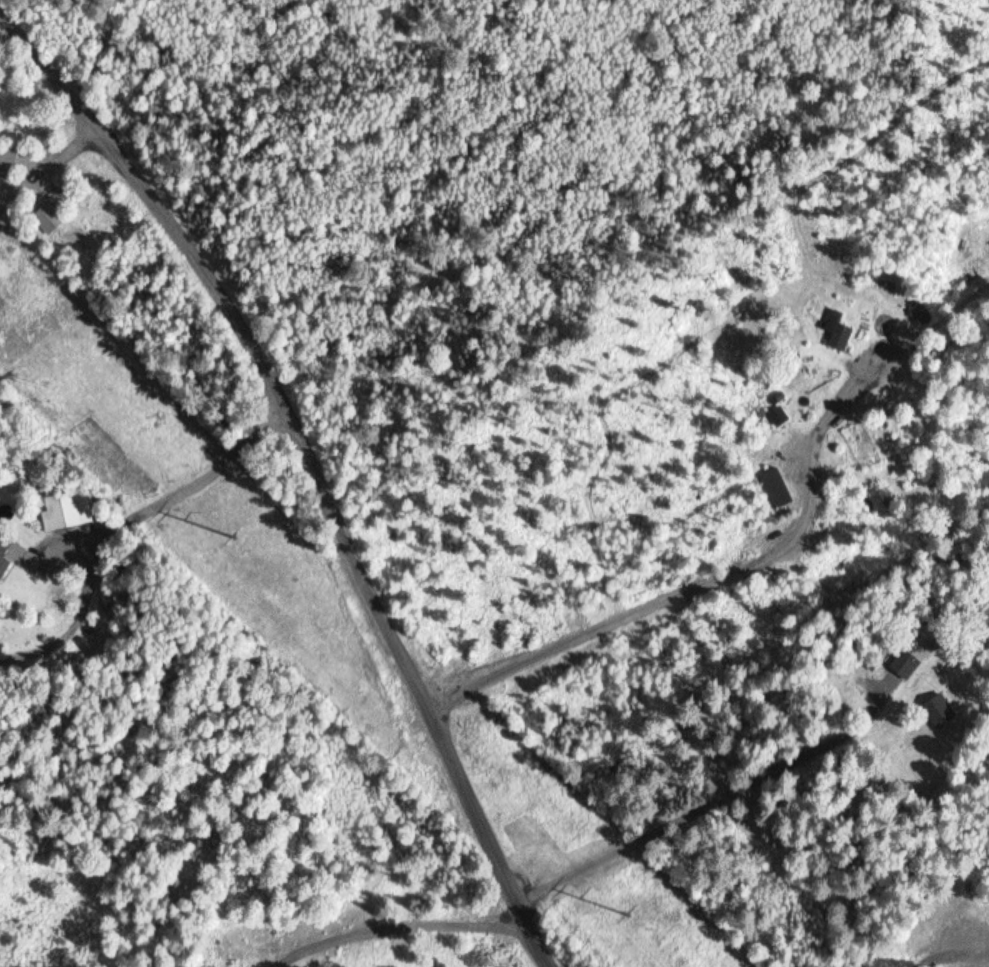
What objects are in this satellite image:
building: (8, 158)
building: (920, 314)
building: (835, 329)
road: (309, 467)
building: (66, 510)
power tower: (238, 536)
building: (4, 547)
road: (728, 562)
building: (908, 662)
building: (941, 711)
power tower: (630, 913)
road: (928, 953)

